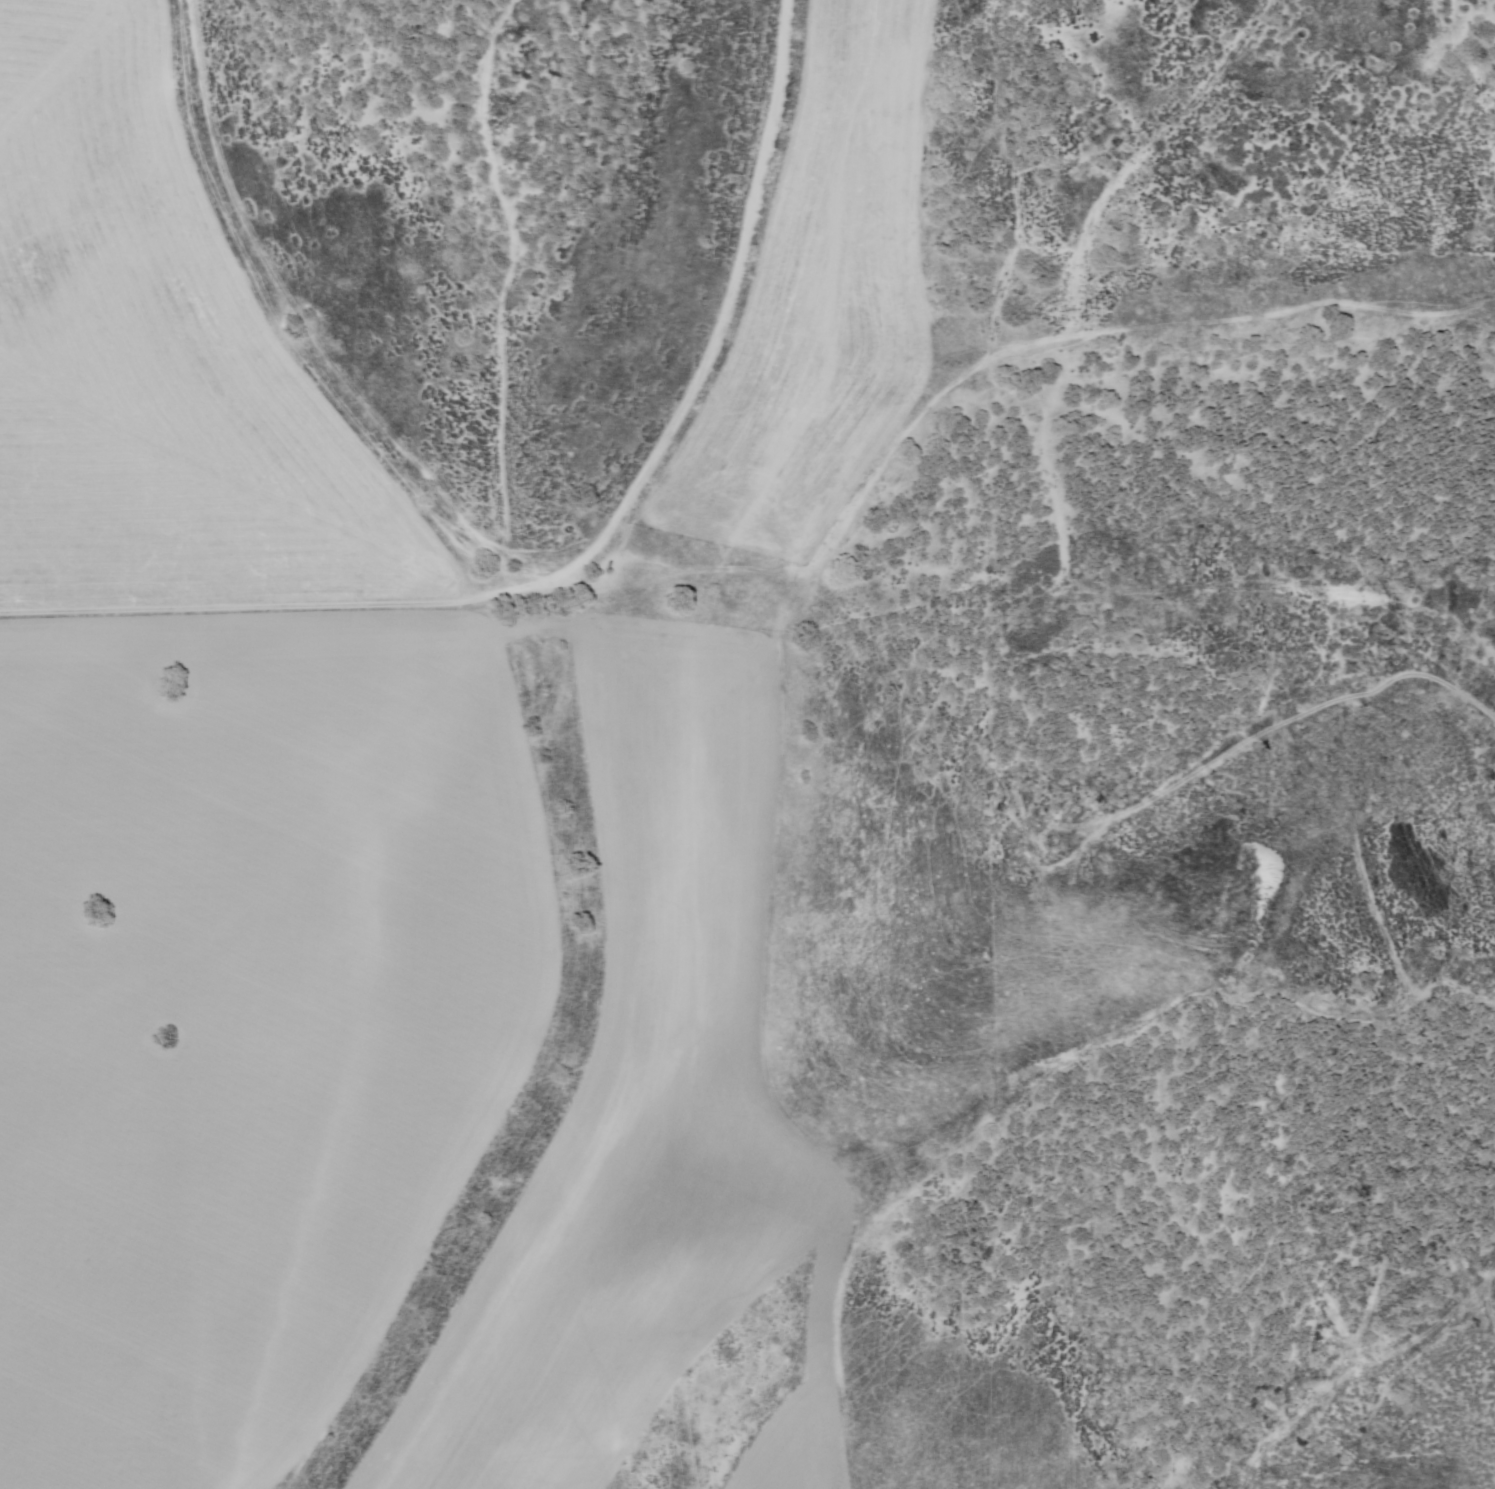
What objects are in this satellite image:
road: (548, 522)

